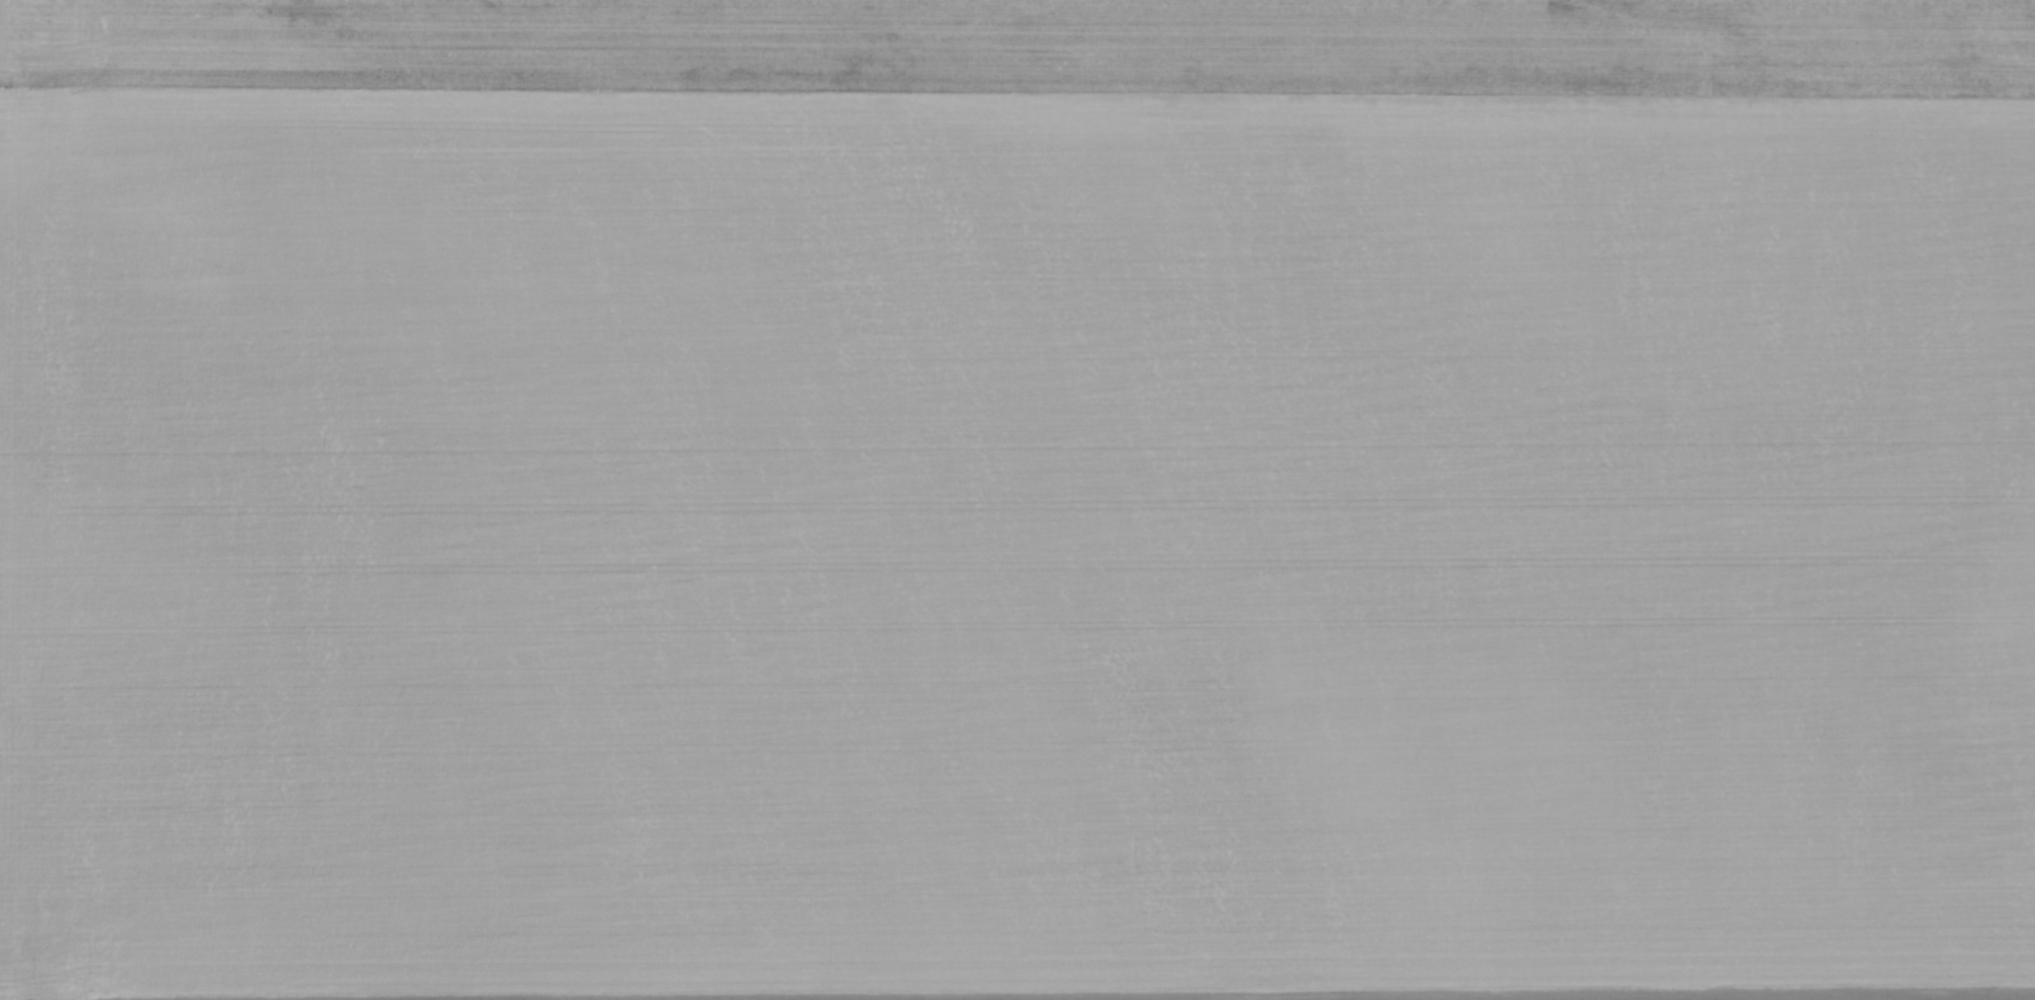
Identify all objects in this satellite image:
crop: (1017, 500)

